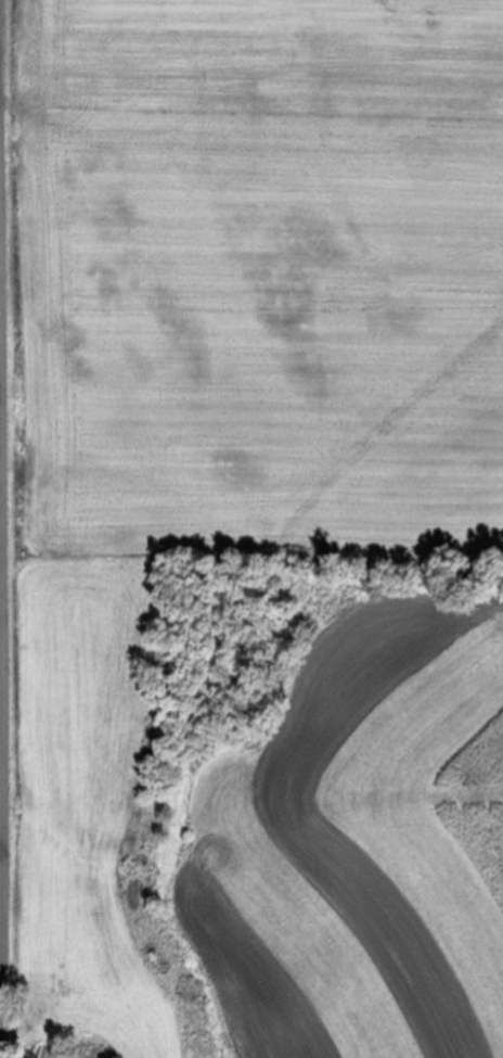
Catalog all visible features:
road: (0, 81)
road: (4, 528)
road: (82, 1057)

